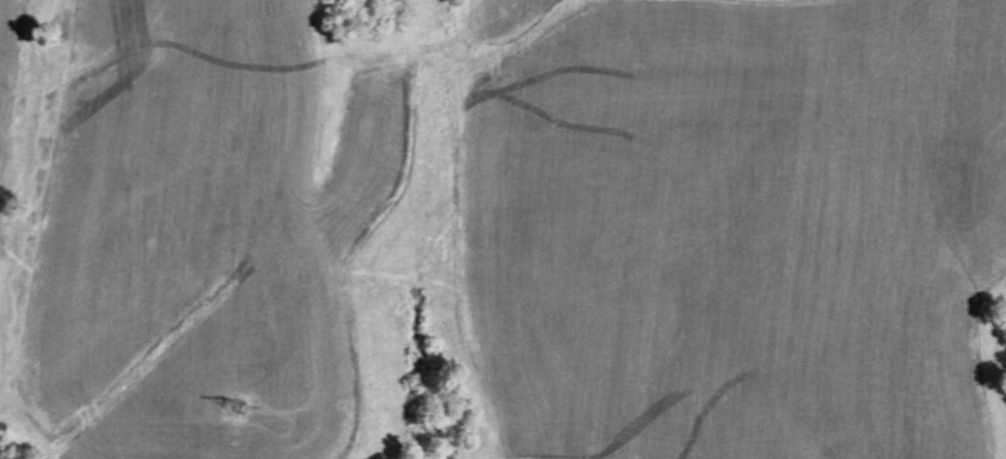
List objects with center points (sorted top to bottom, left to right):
power tower: (235, 406)

